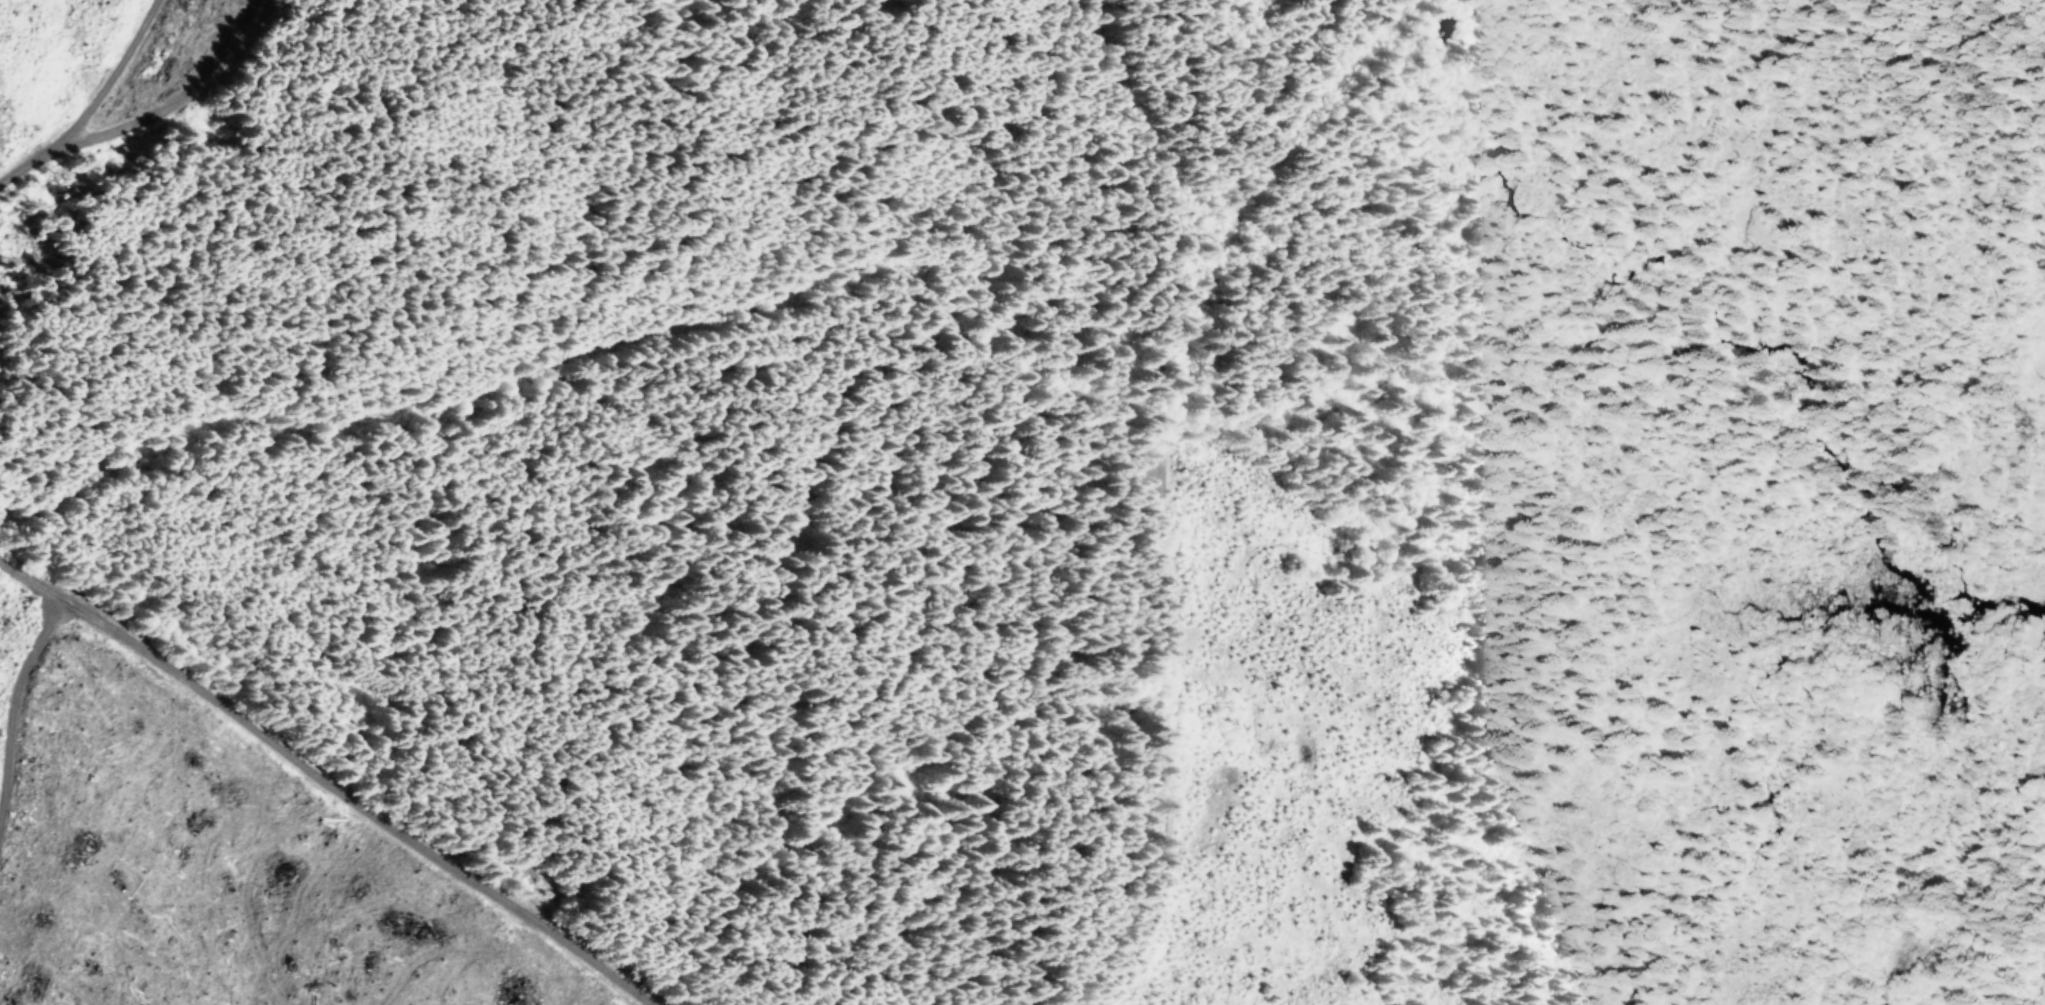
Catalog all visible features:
road: (98, 70)
road: (144, 123)
road: (1169, 485)
road: (40, 720)
road: (362, 806)
road: (1904, 973)

